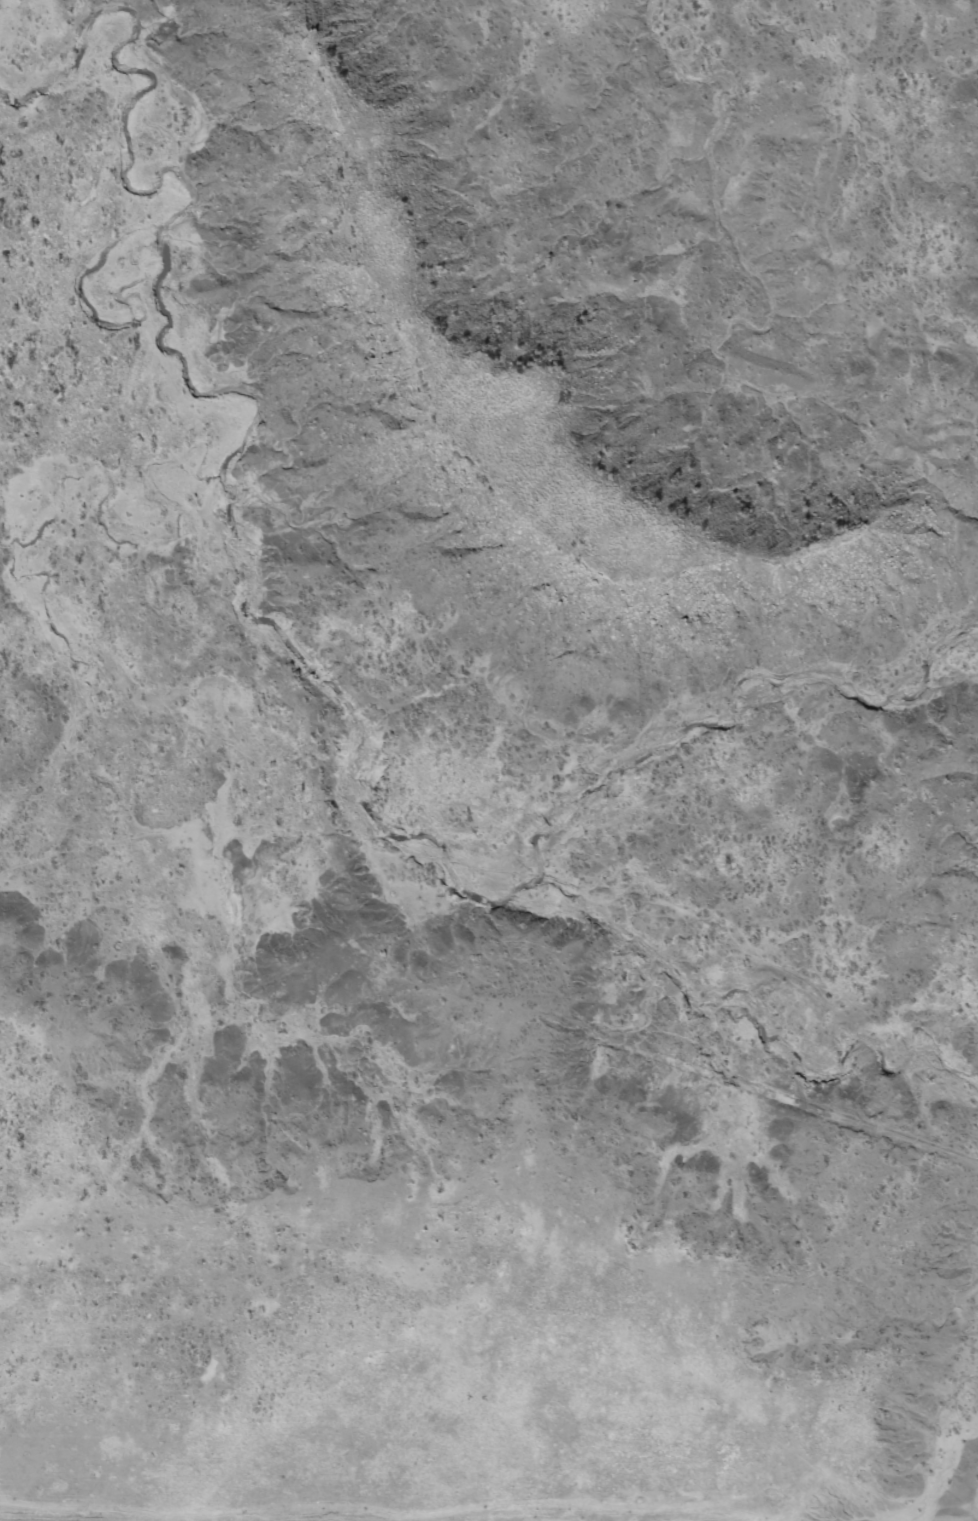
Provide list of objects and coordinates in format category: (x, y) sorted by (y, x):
road: (500, 1345)

